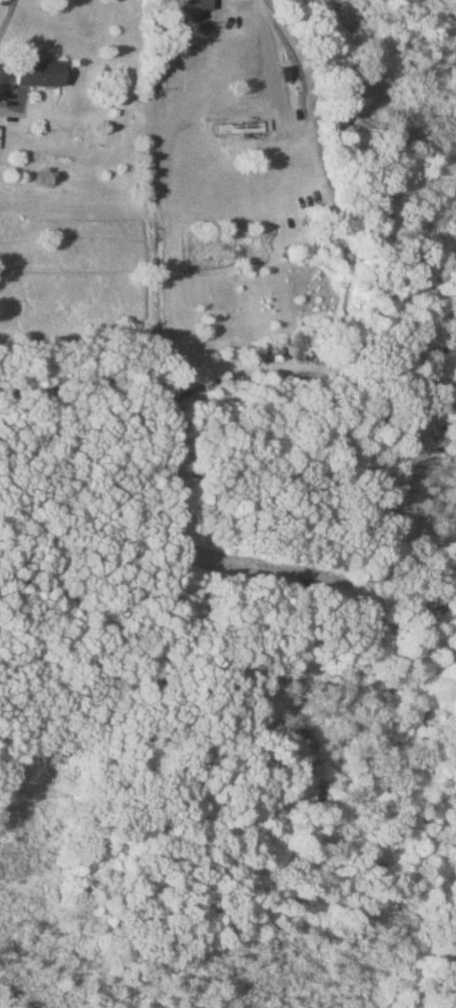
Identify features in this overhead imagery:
building: (196, 5)
road: (9, 20)
building: (38, 75)
road: (5, 100)
road: (299, 128)
building: (239, 130)

